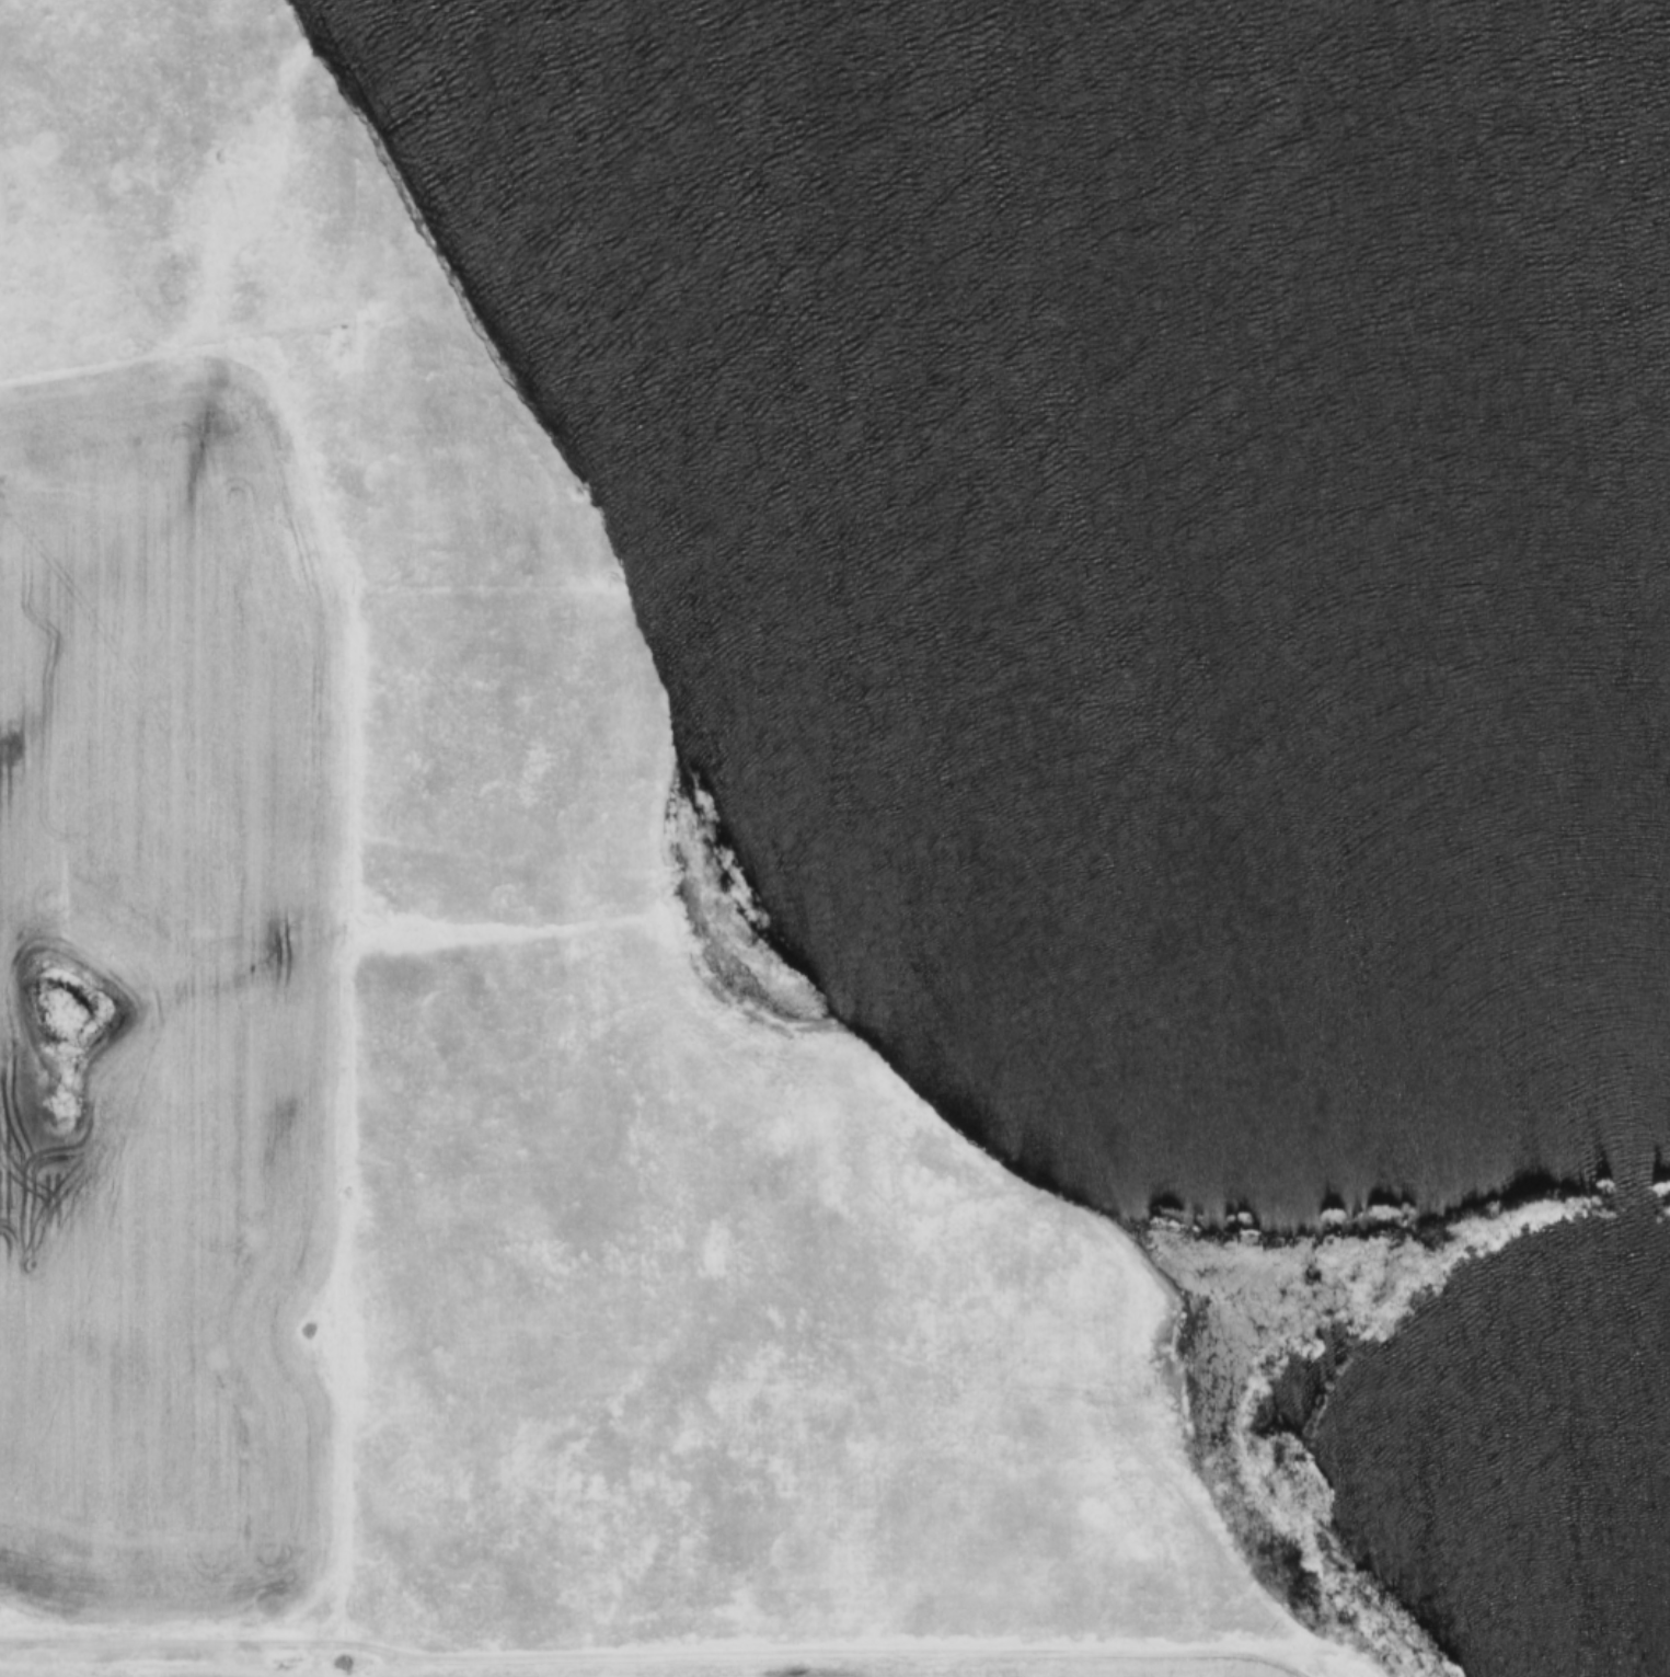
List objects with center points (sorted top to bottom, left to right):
road: (671, 1661)

